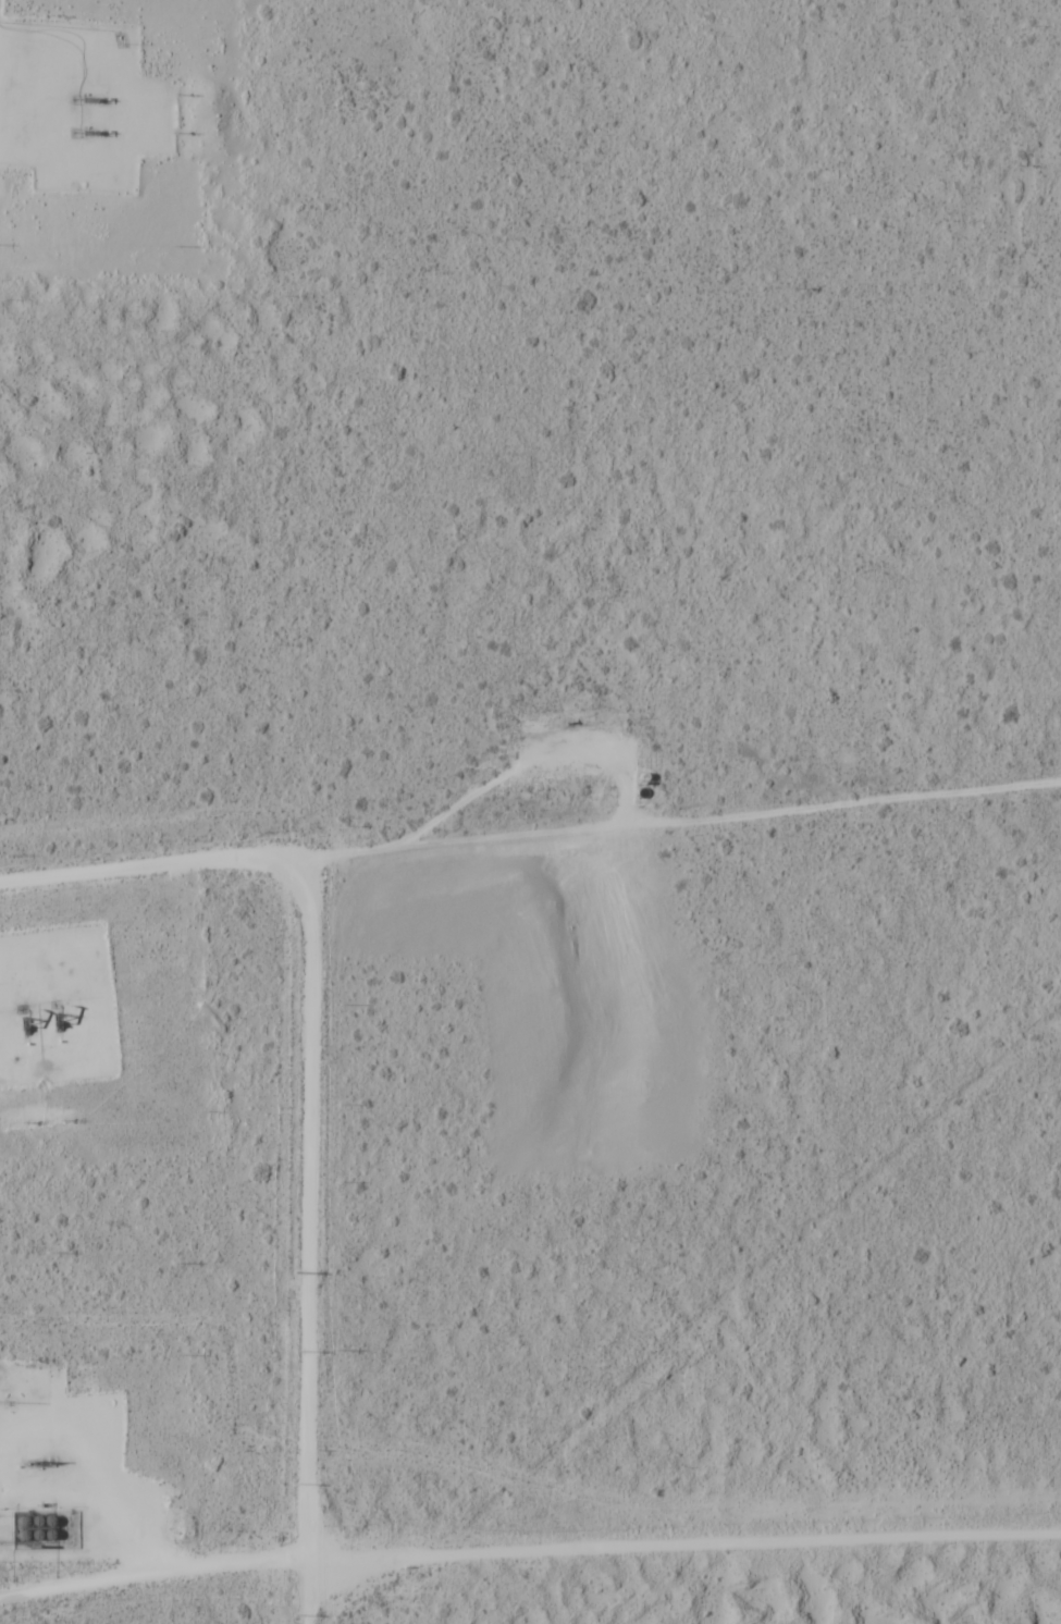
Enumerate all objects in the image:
road: (530, 835)
road: (309, 1241)
road: (160, 1527)
road: (684, 1546)
road: (157, 1568)

